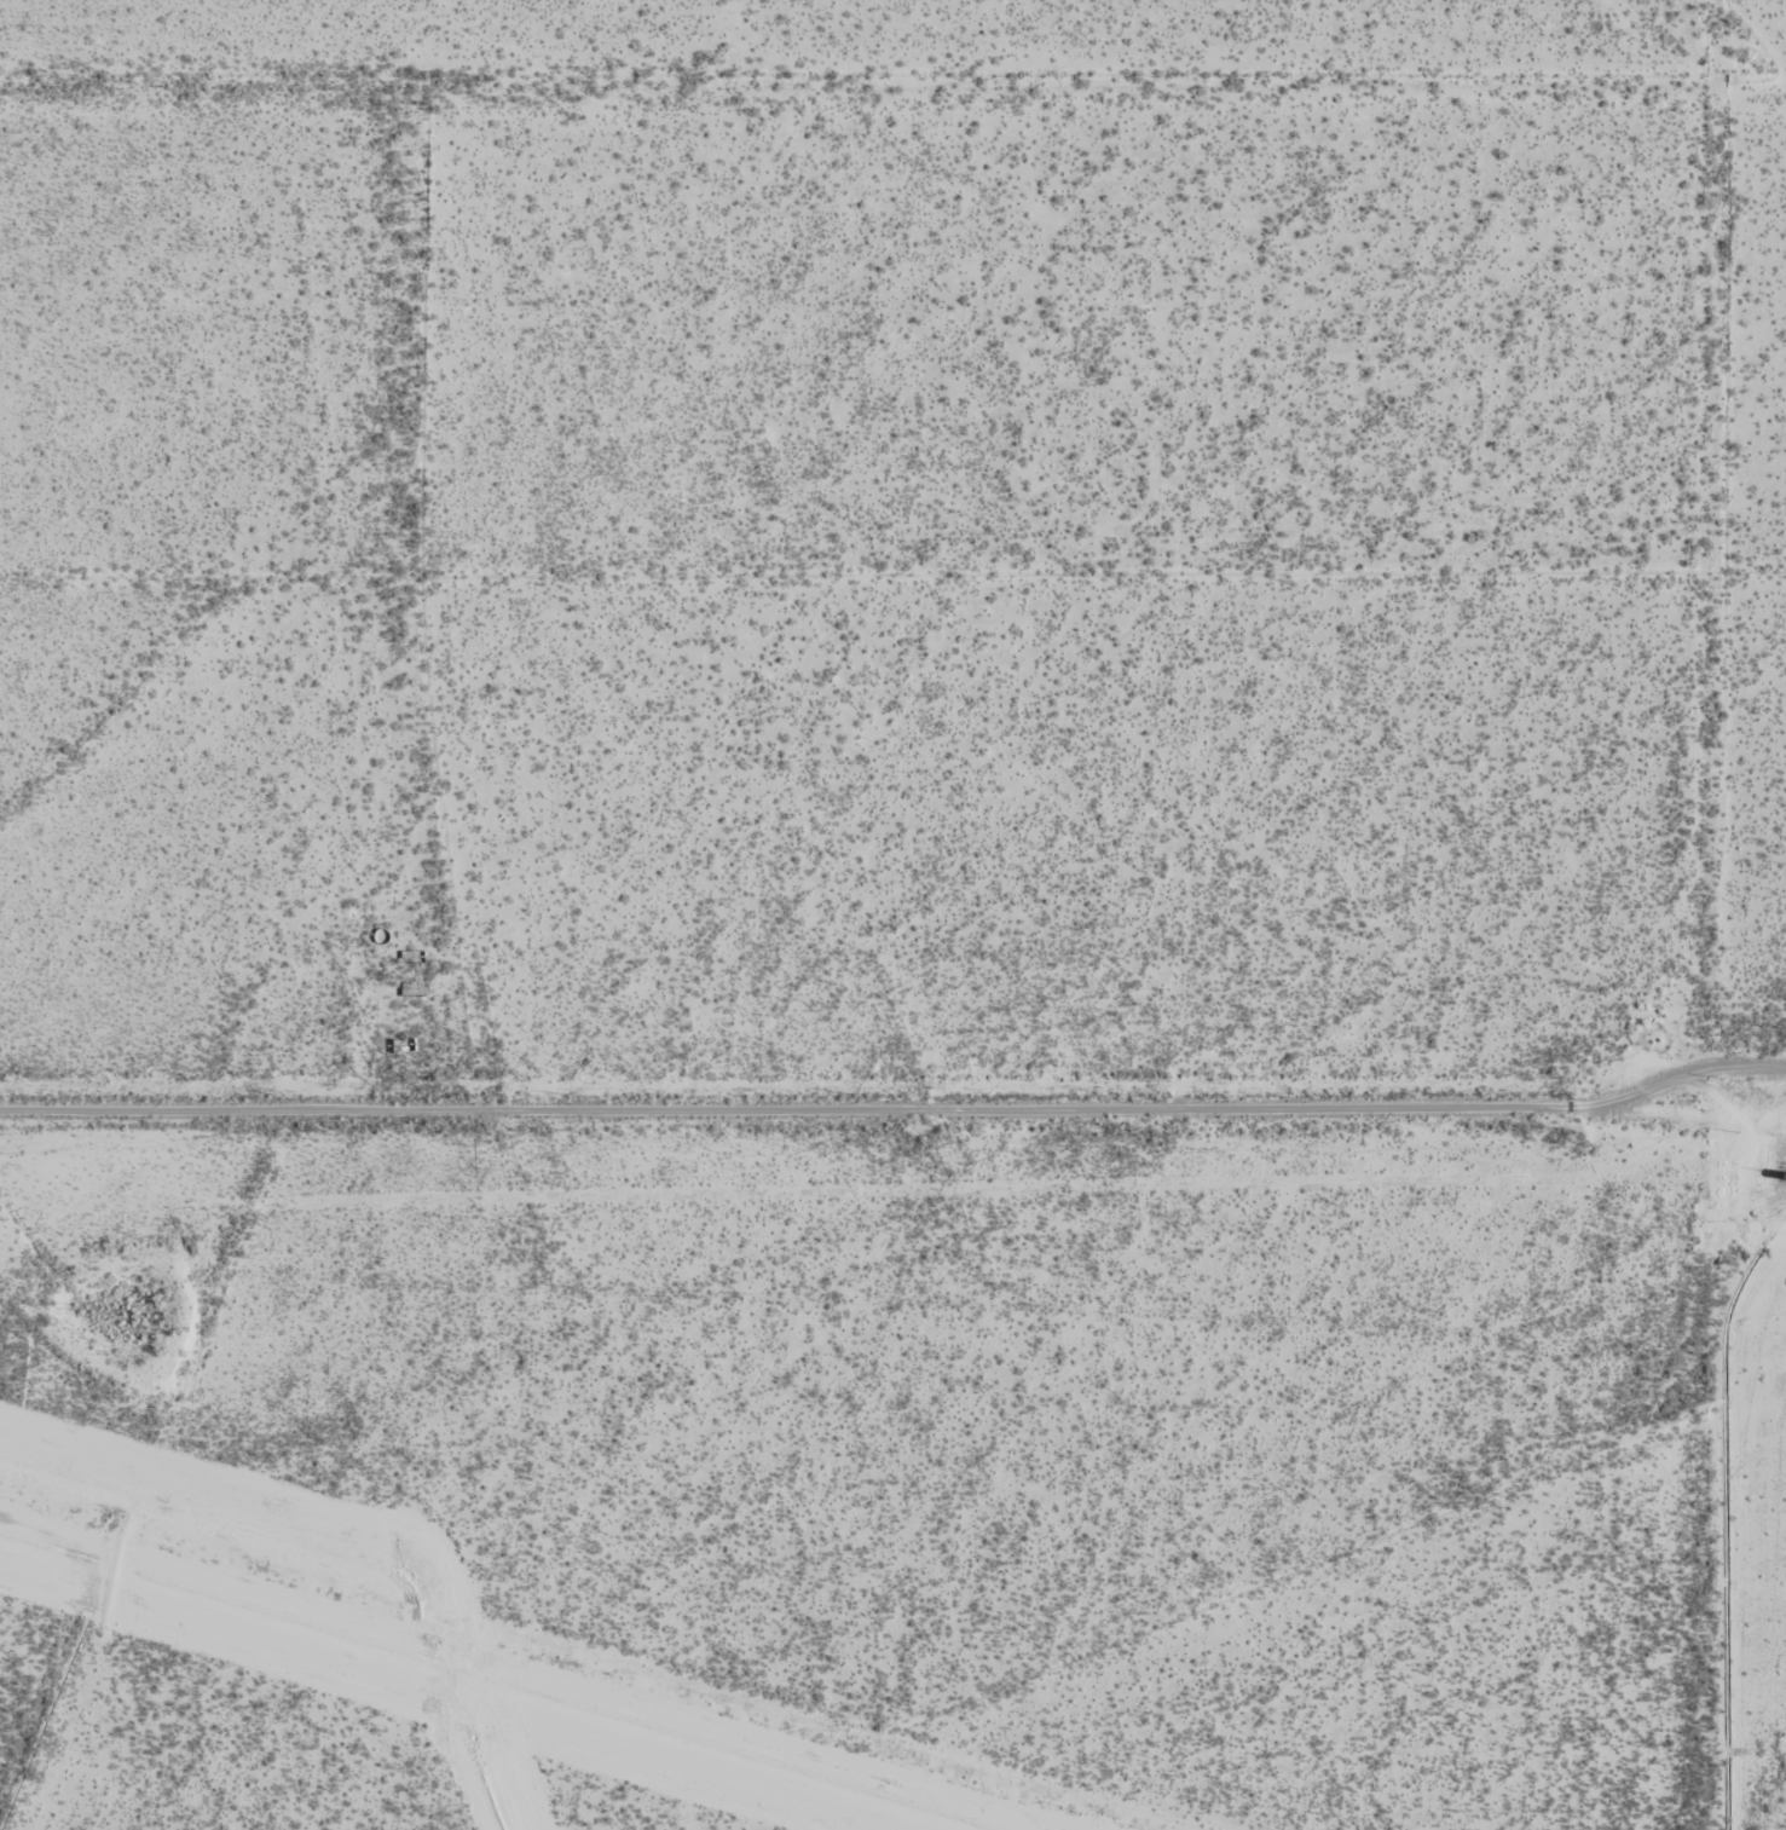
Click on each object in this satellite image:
road: (897, 1162)
road: (1665, 1490)

